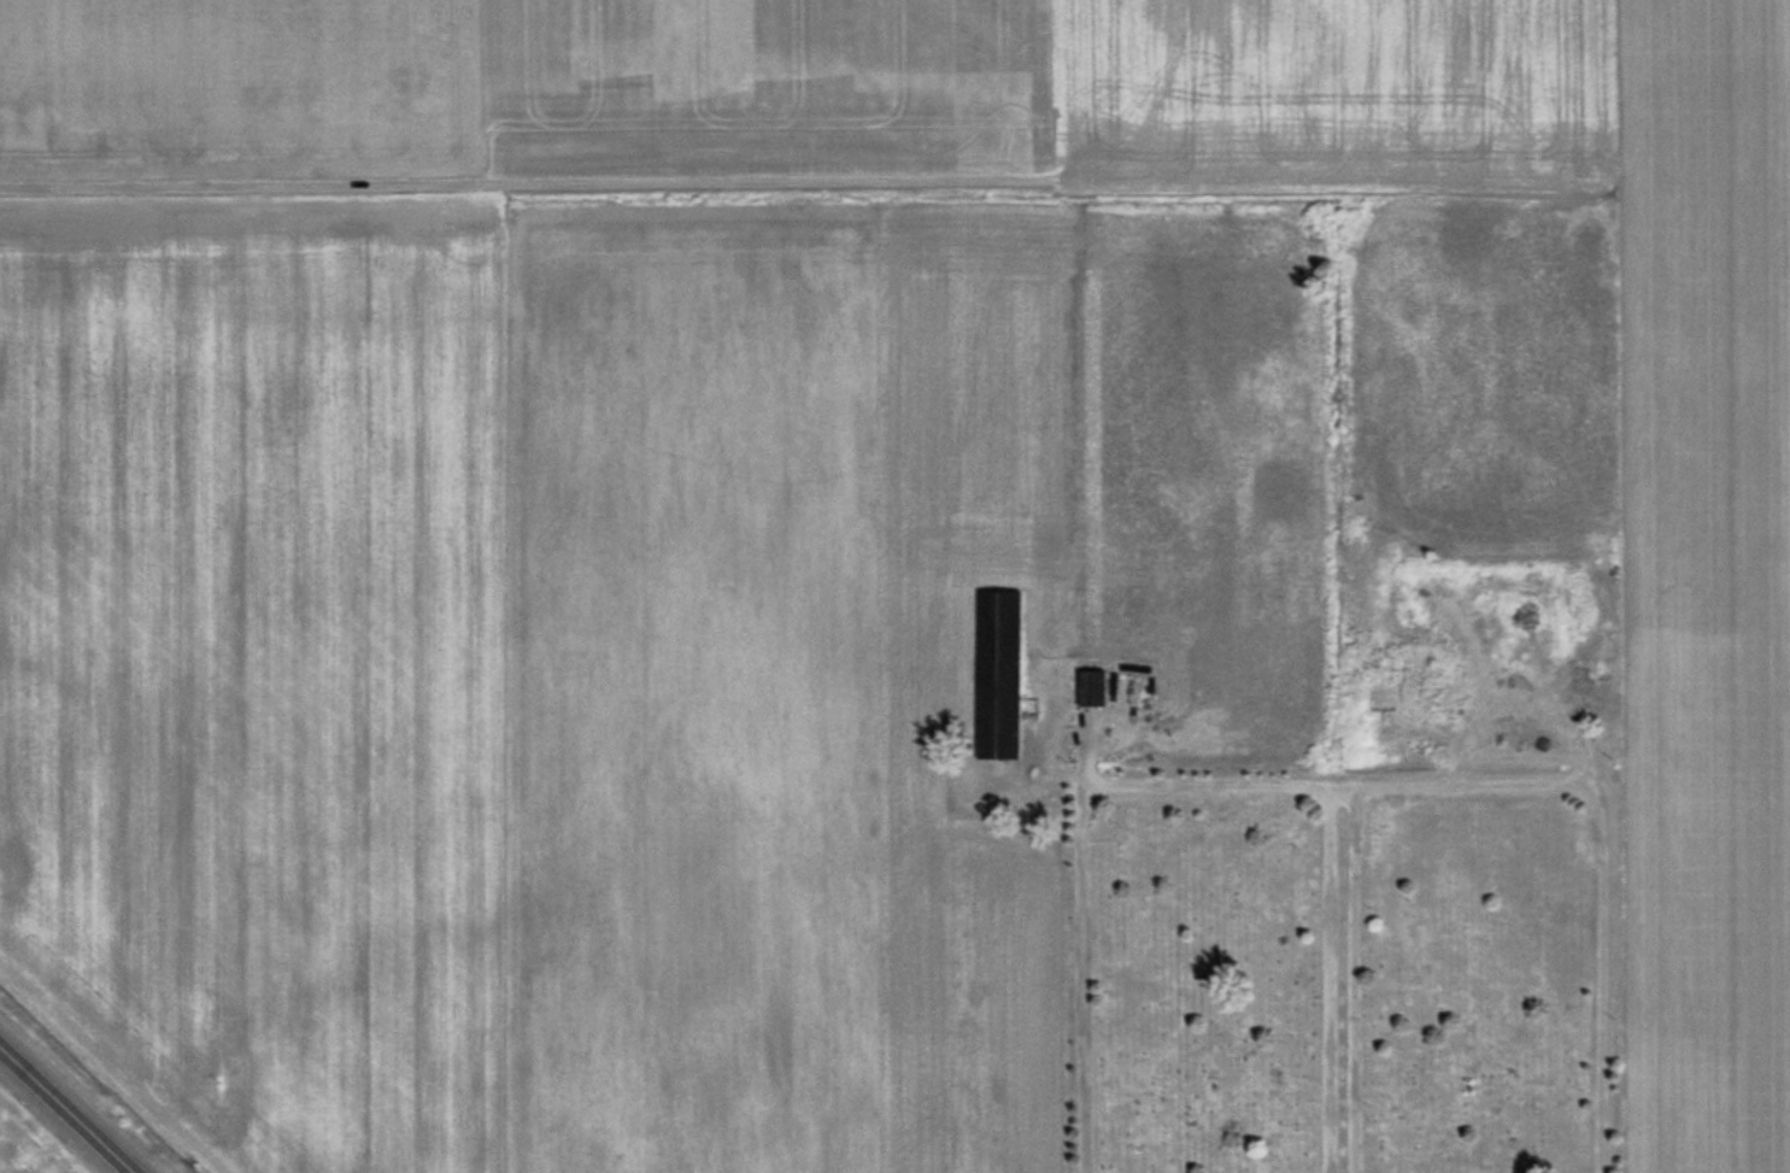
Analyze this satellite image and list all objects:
road: (583, 194)
building: (1002, 680)
park: (1367, 905)
road: (1349, 983)
road: (69, 1109)

